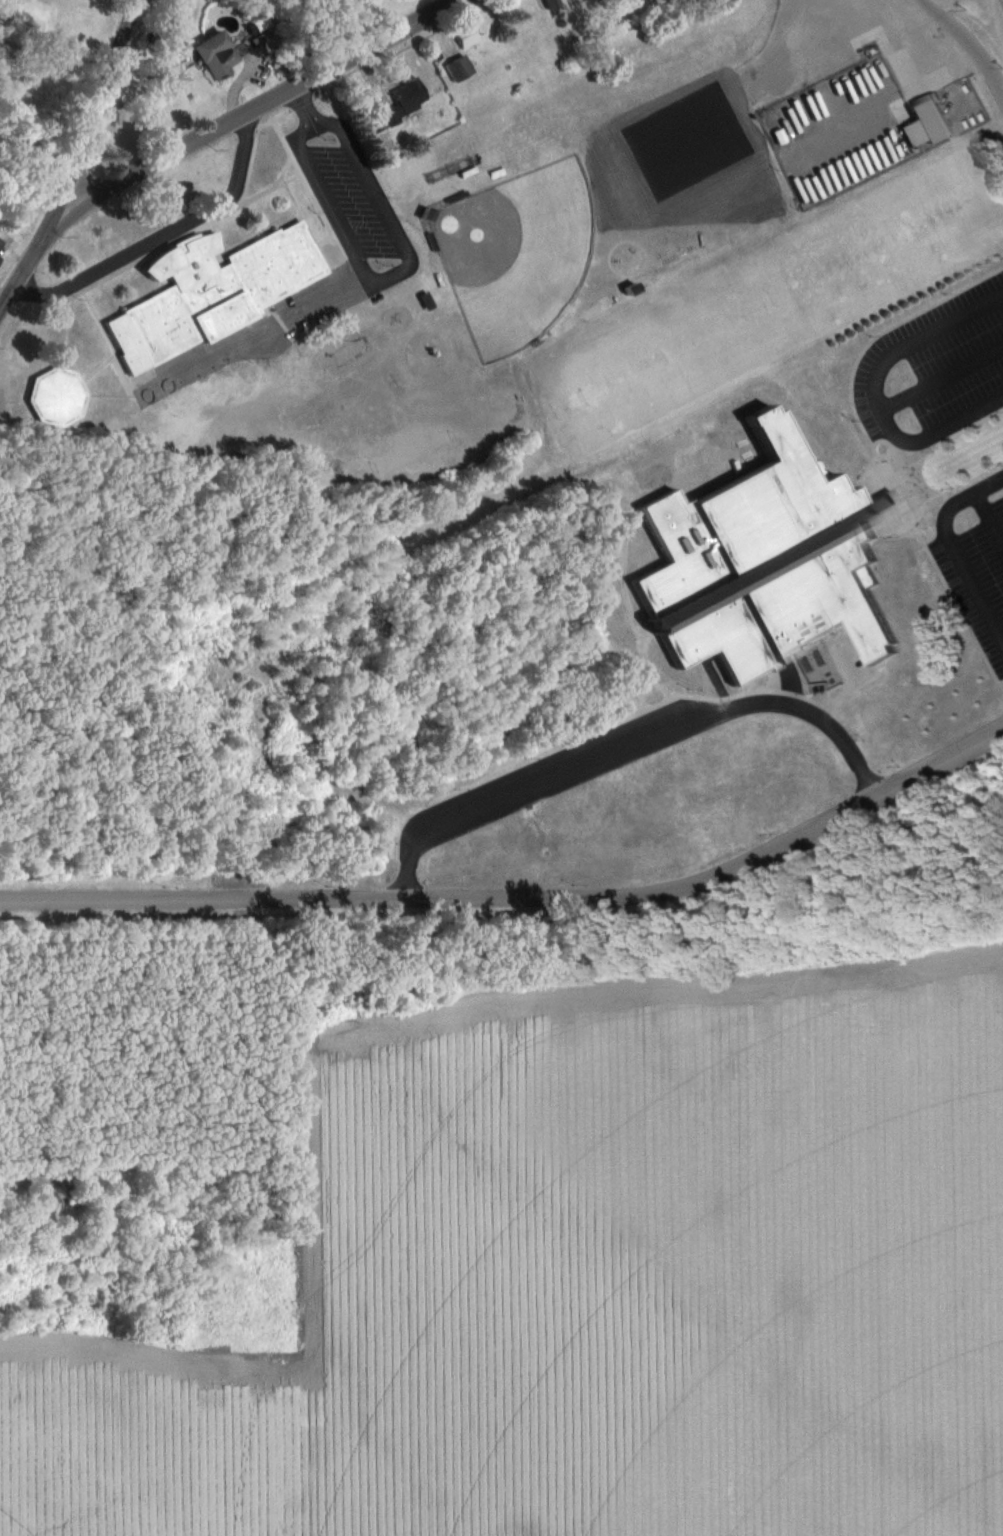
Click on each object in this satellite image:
road: (452, 1)
building: (553, 4)
building: (467, 37)
road: (969, 42)
building: (217, 57)
building: (459, 71)
road: (258, 103)
building: (405, 103)
building: (928, 124)
building: (383, 142)
road: (81, 159)
park: (755, 181)
park: (724, 183)
park: (693, 184)
road: (167, 236)
building: (1, 243)
park: (518, 252)
building: (0, 261)
road: (365, 283)
building: (208, 286)
road: (876, 388)
building: (57, 397)
road: (950, 546)
building: (770, 563)
road: (800, 704)
road: (512, 785)
road: (521, 894)
crop: (675, 1267)
crop: (128, 1446)

